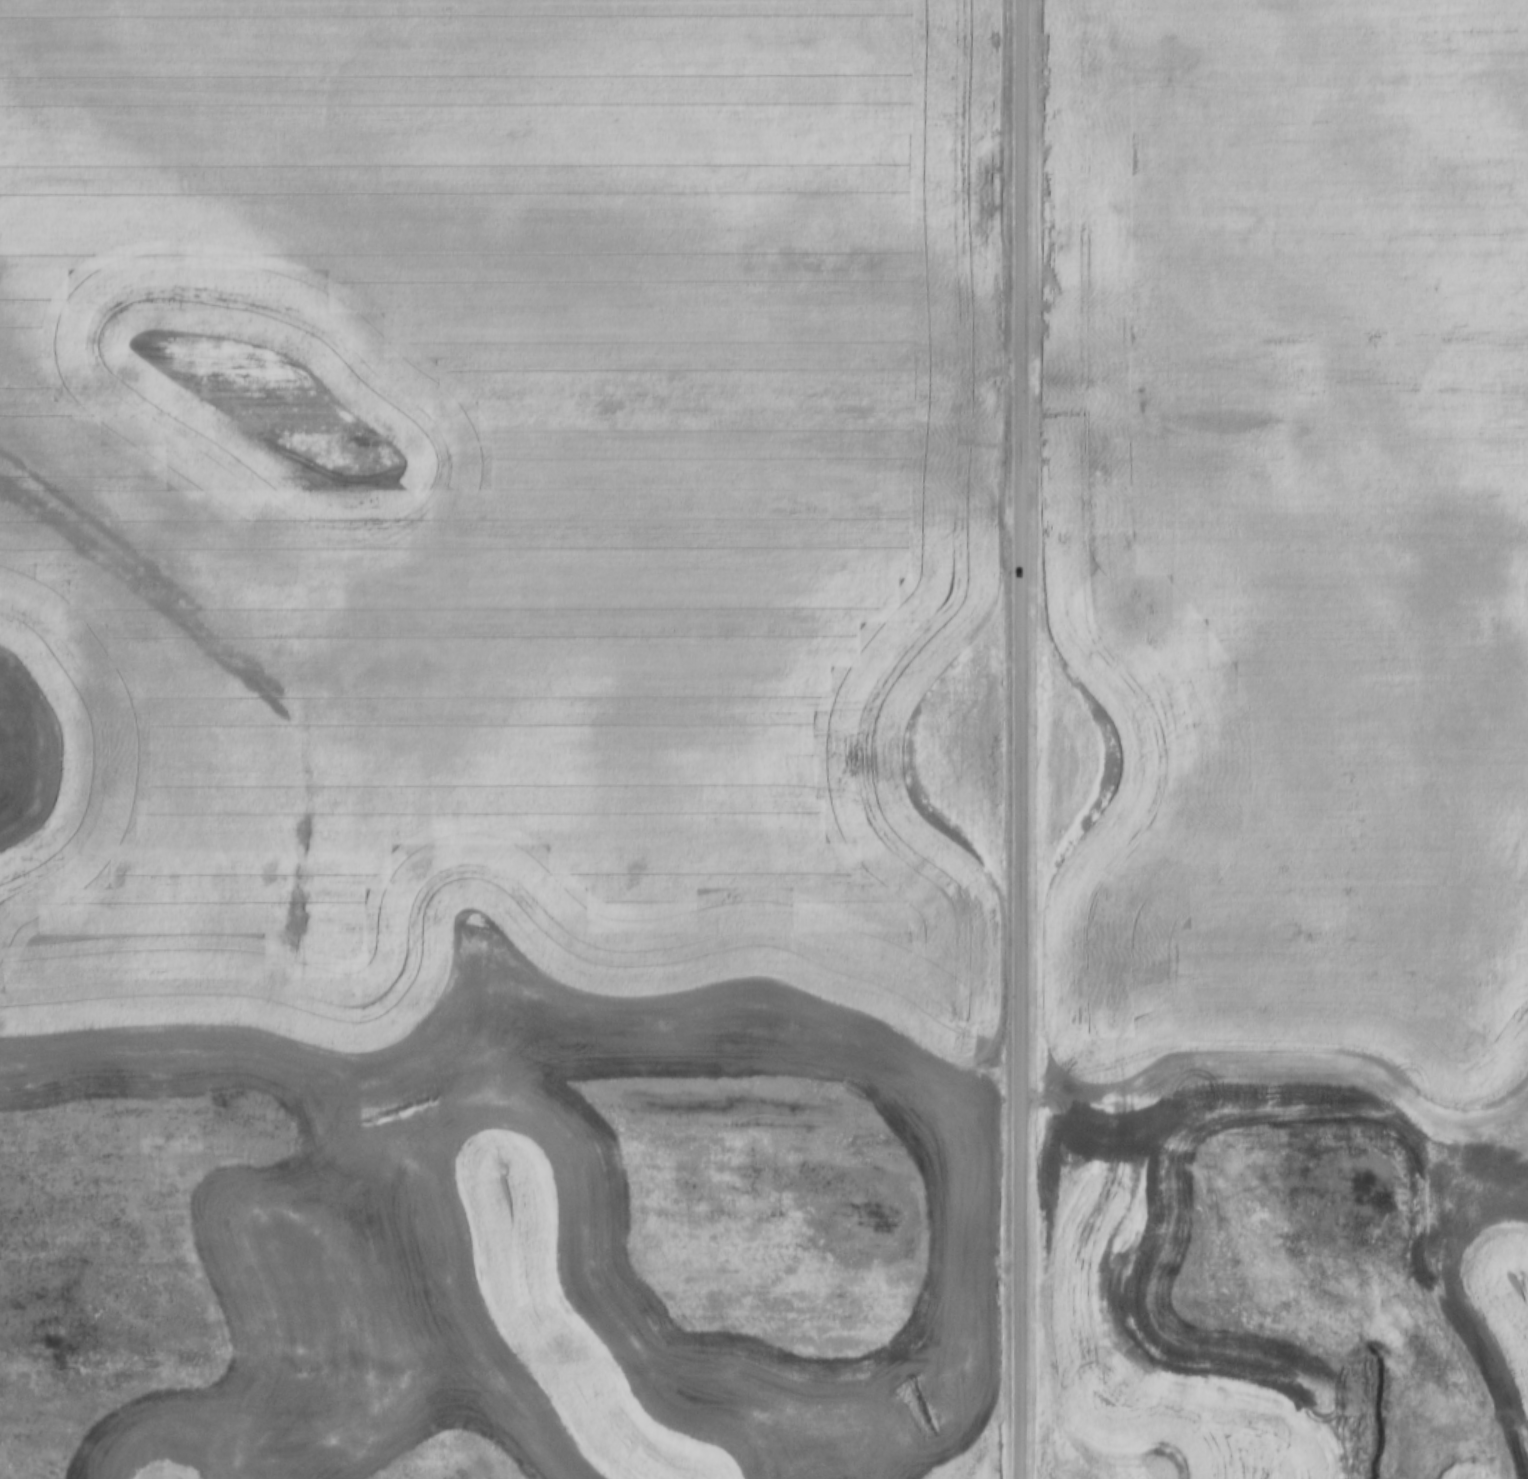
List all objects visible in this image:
road: (1026, 739)

